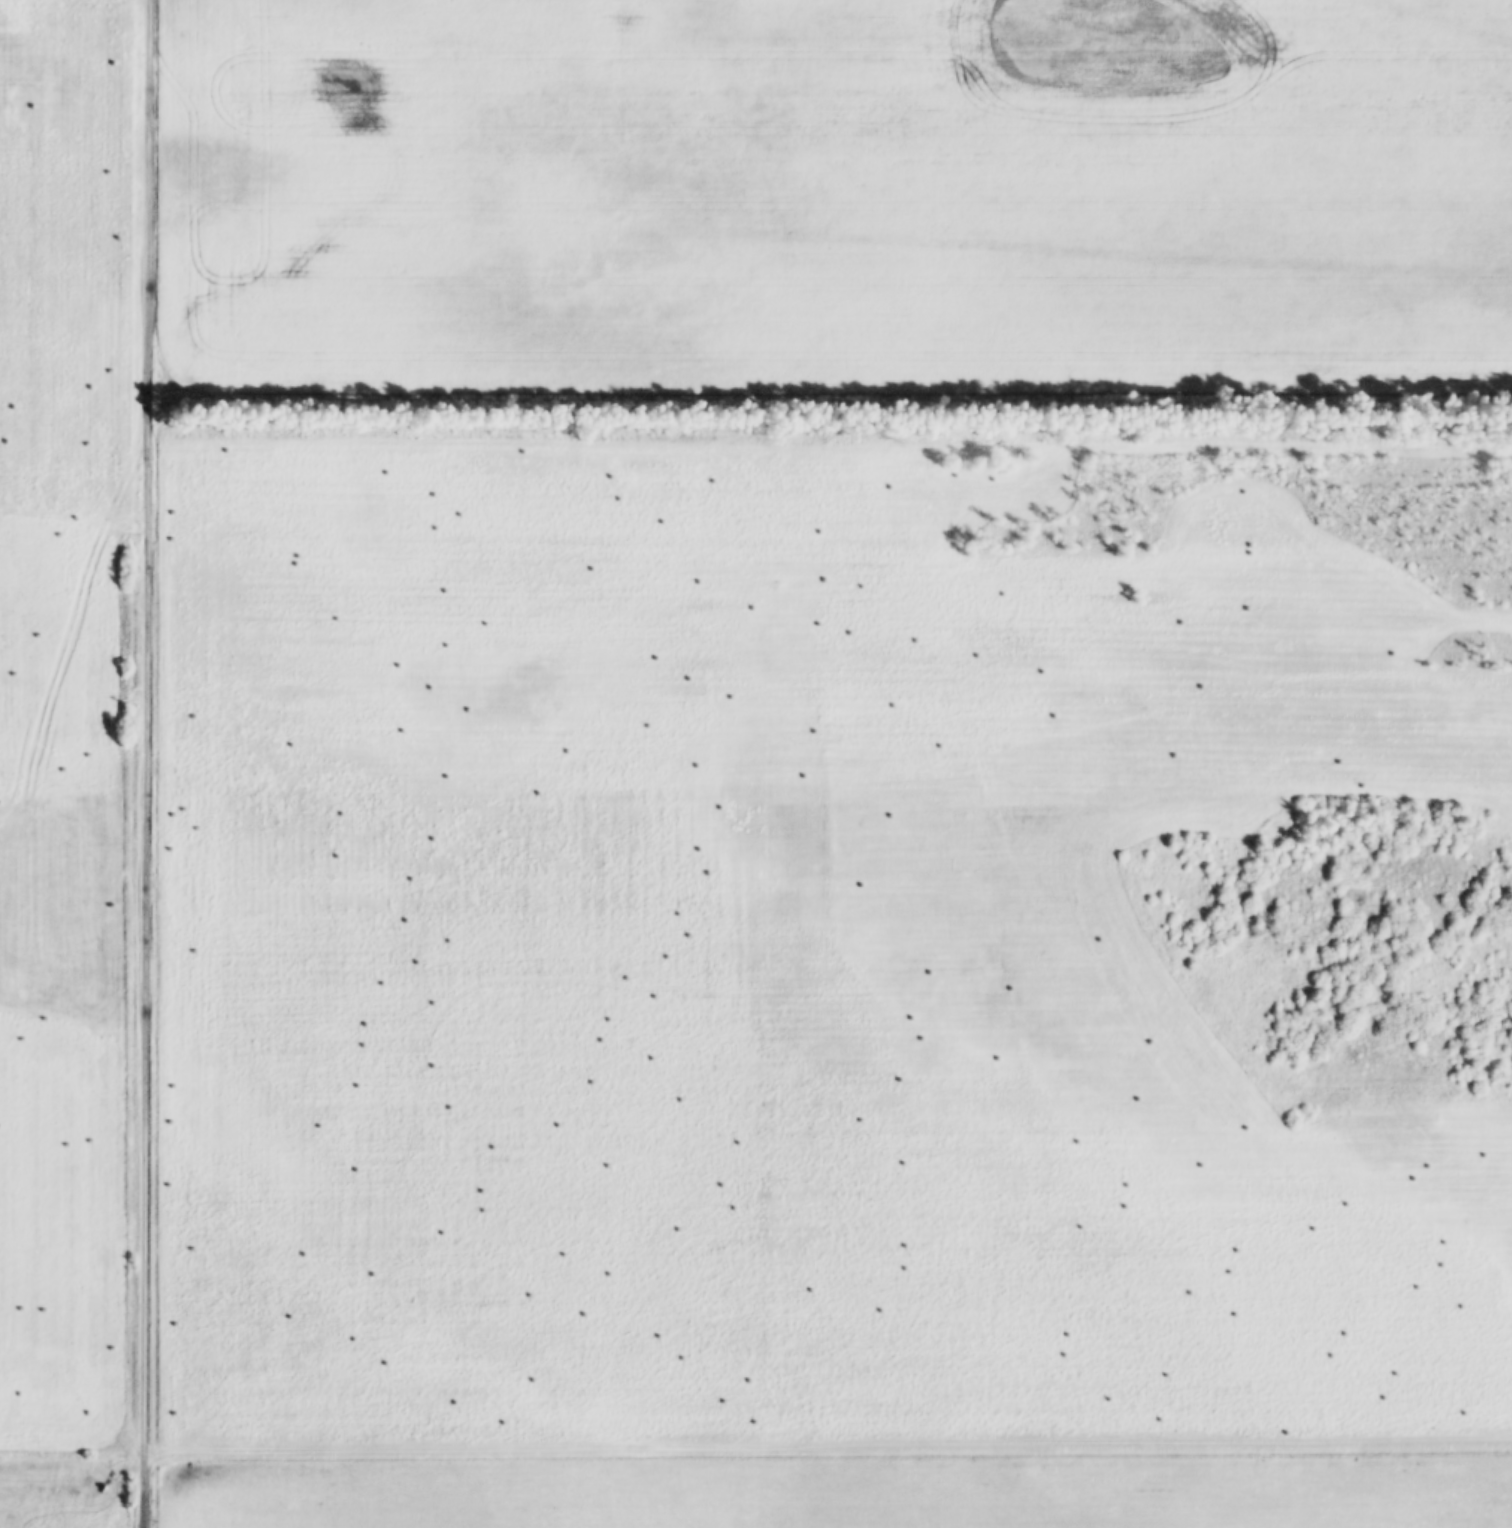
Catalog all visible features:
road: (72, 518)
road: (143, 763)
road: (828, 1442)

